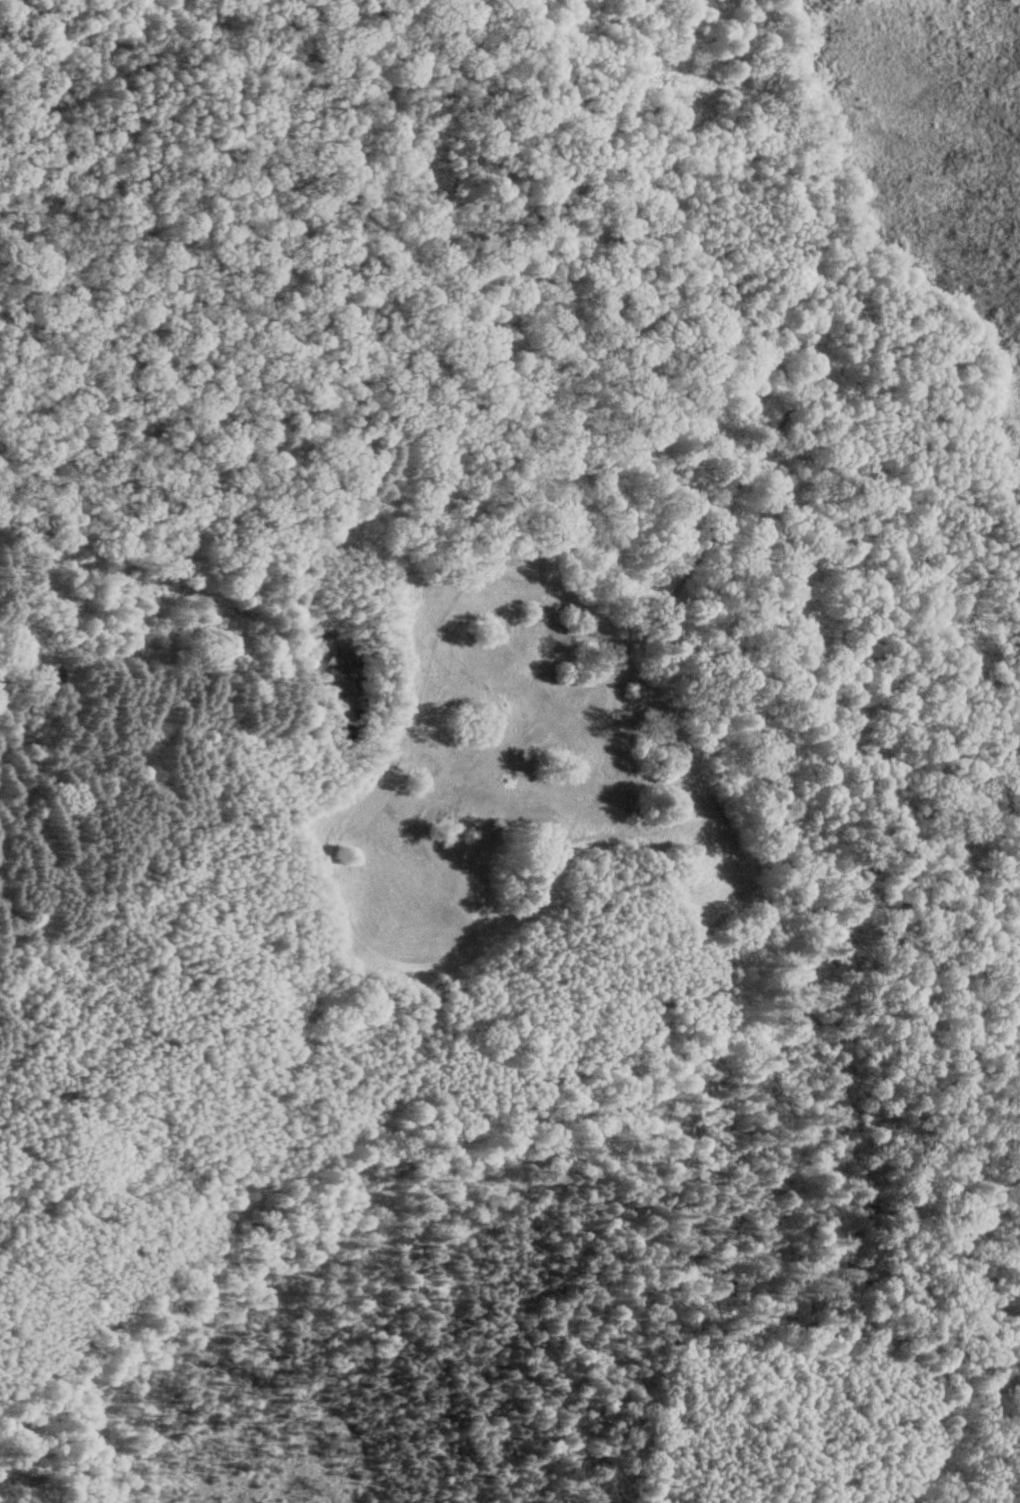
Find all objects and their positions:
road: (924, 563)
road: (879, 632)
road: (955, 1419)

